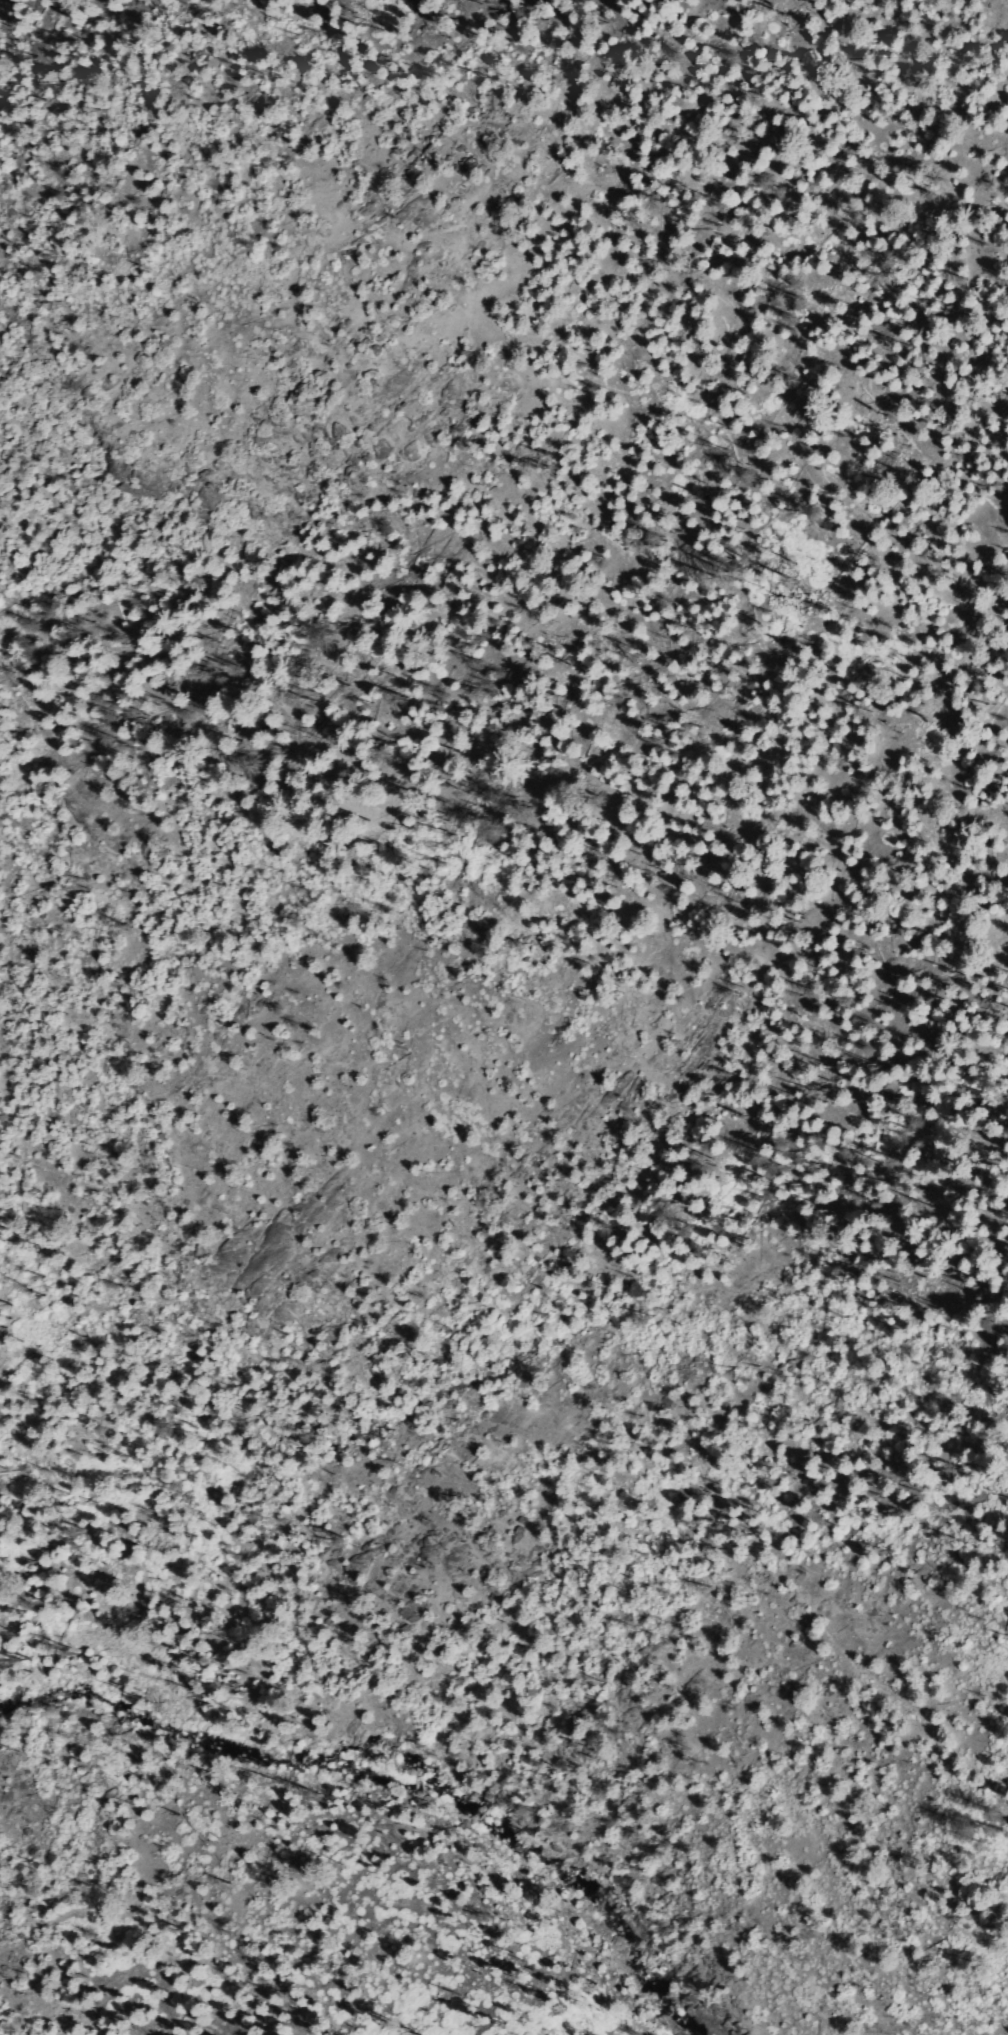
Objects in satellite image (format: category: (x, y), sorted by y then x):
road: (492, 1621)

